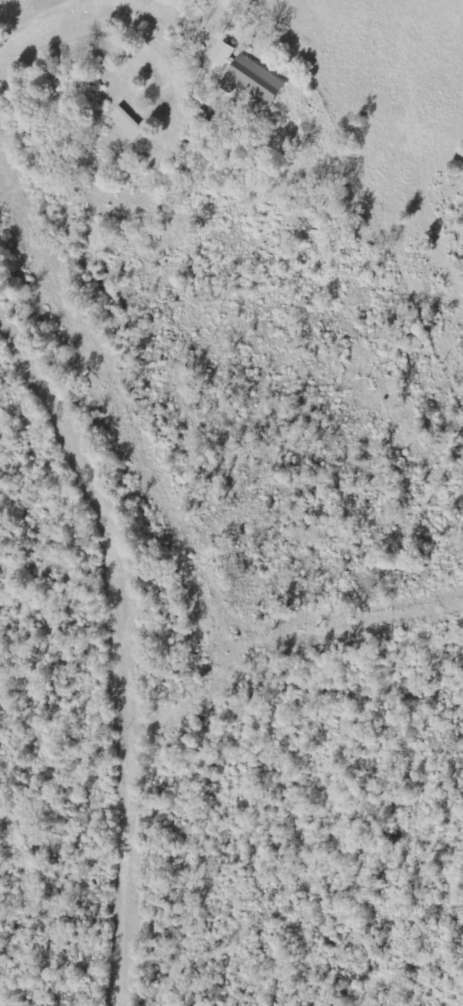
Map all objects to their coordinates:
building: (224, 54)
building: (254, 82)
building: (128, 124)
road: (128, 674)

